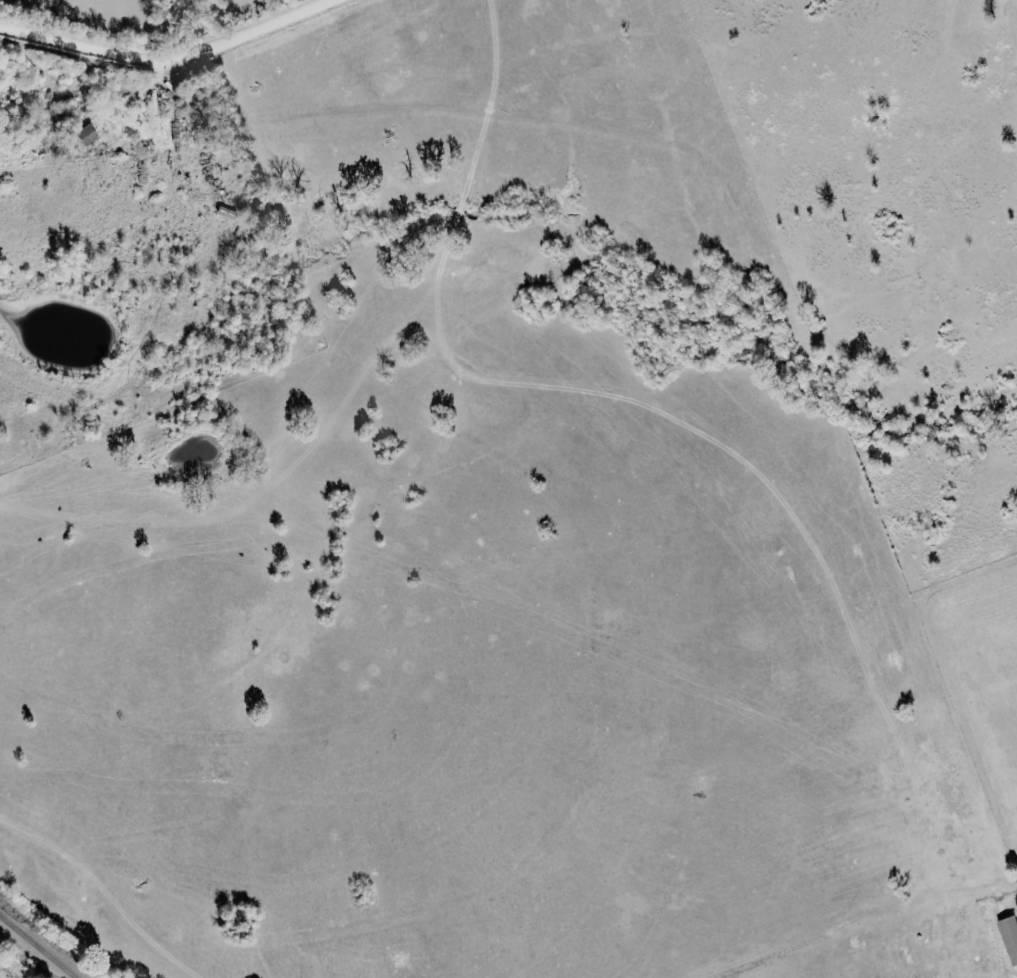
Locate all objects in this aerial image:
road: (165, 58)
building: (89, 134)
building: (1011, 934)
railway: (39, 945)

